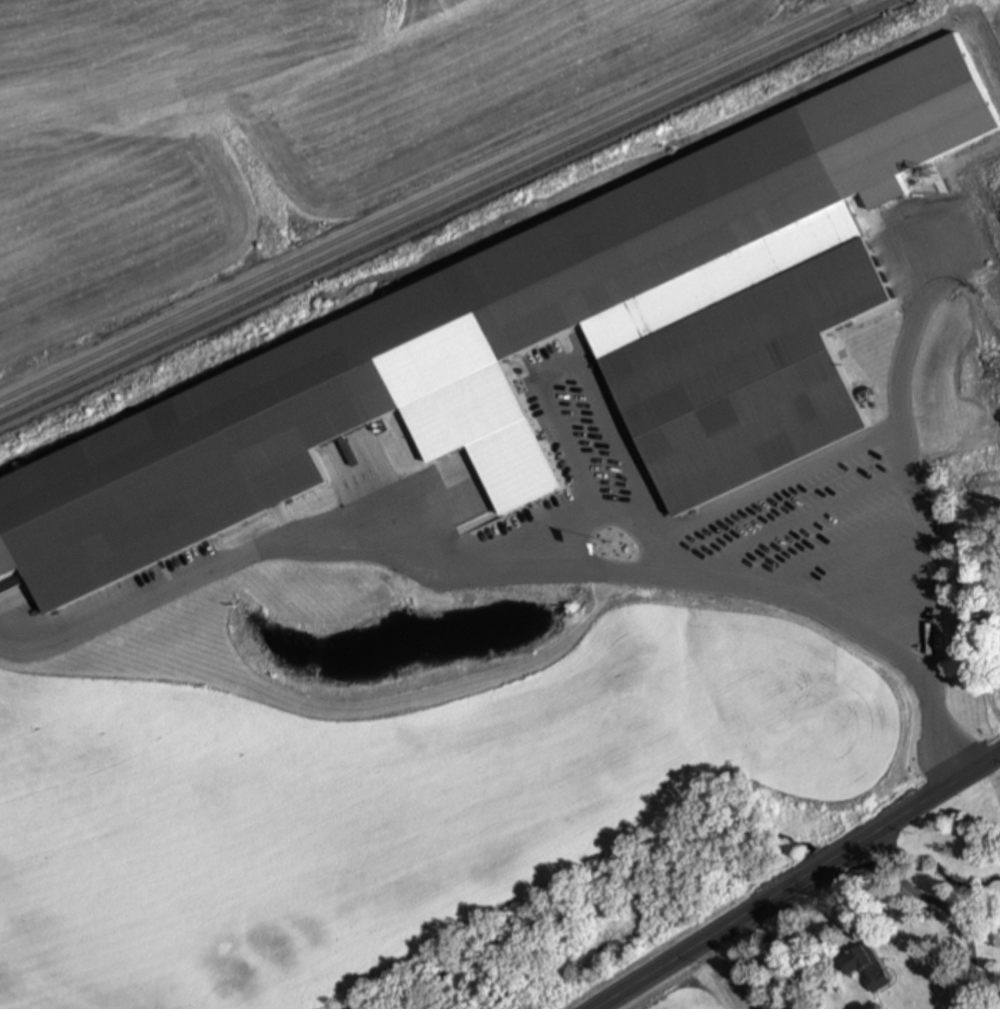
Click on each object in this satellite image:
railway: (436, 206)
railway: (446, 210)
building: (478, 377)
road: (622, 512)
road: (798, 880)
building: (864, 968)

